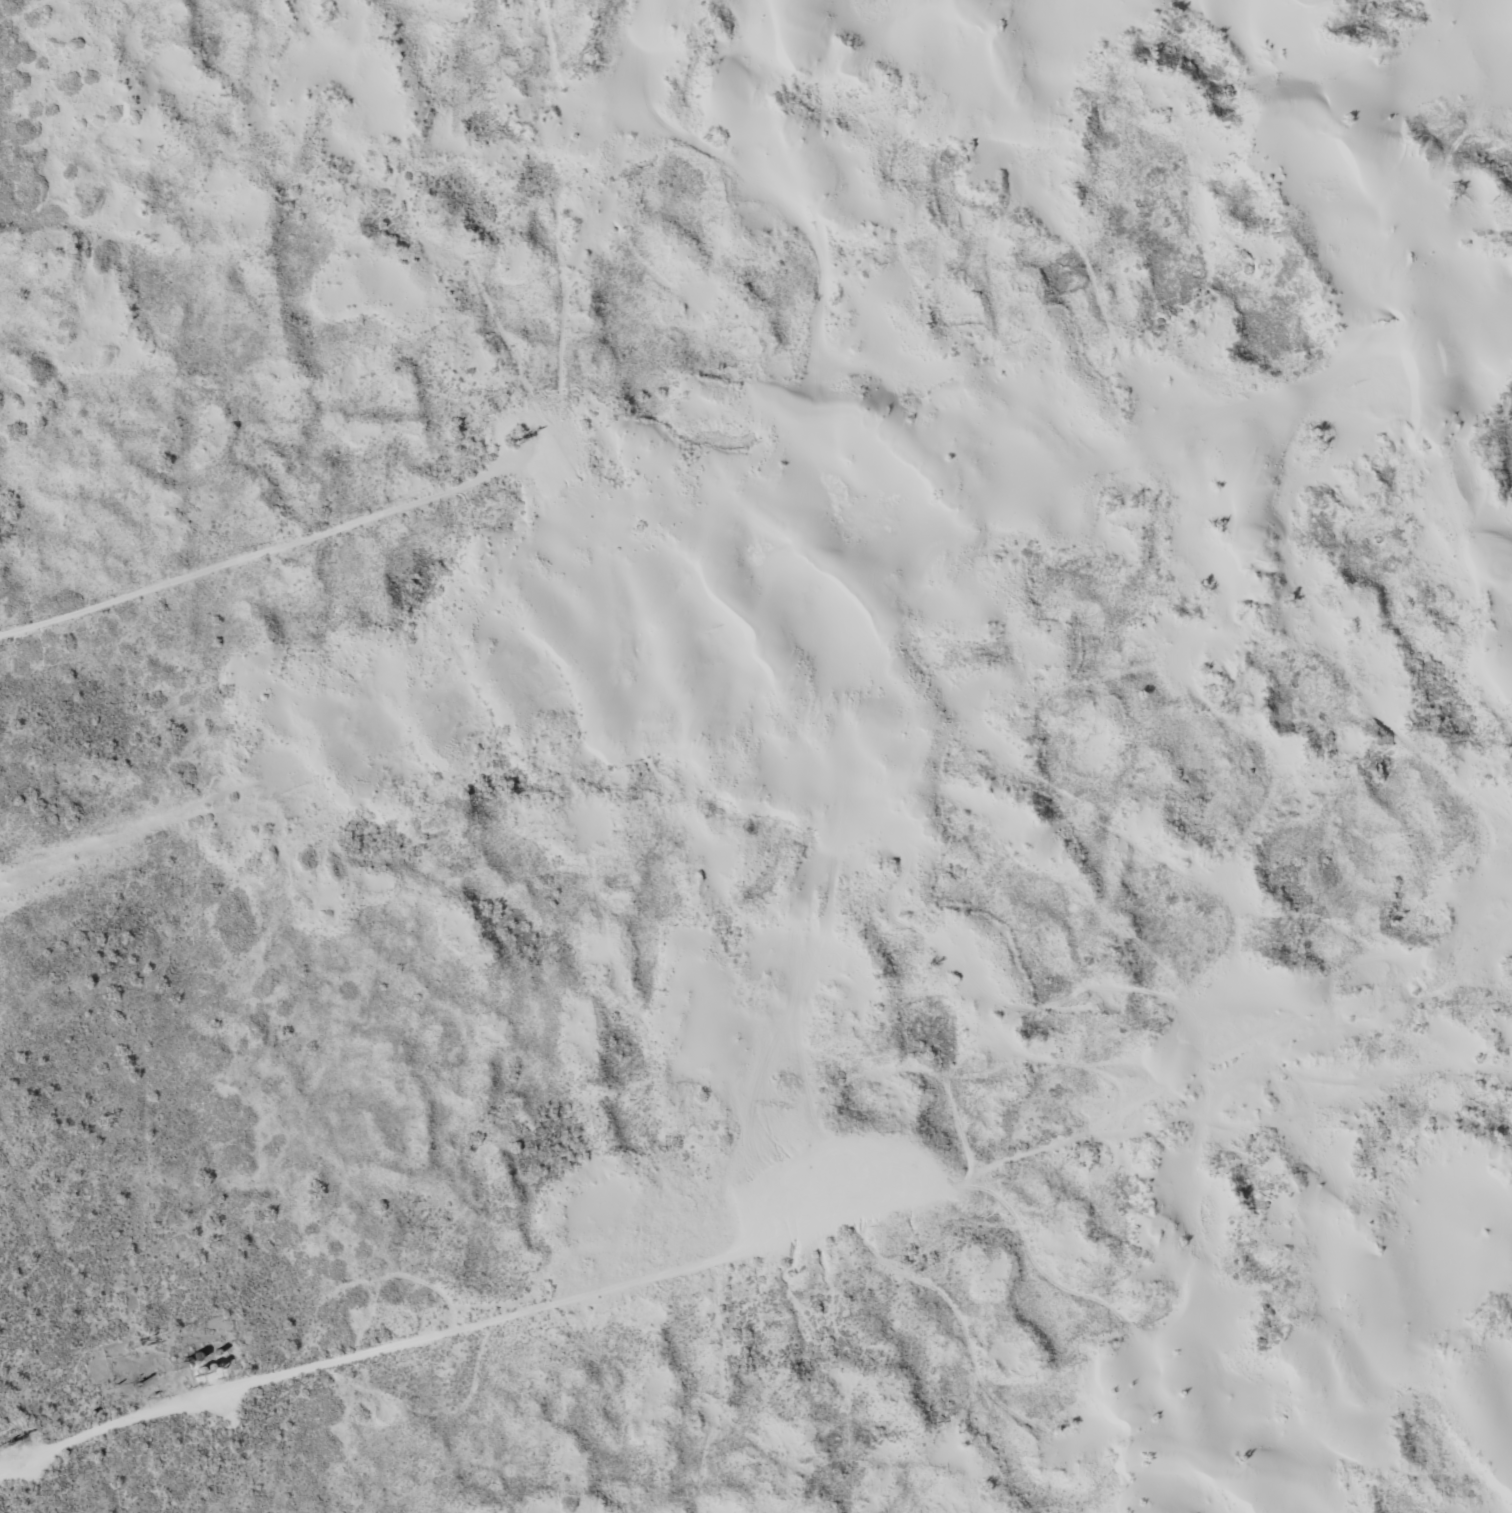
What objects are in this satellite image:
road: (254, 569)

